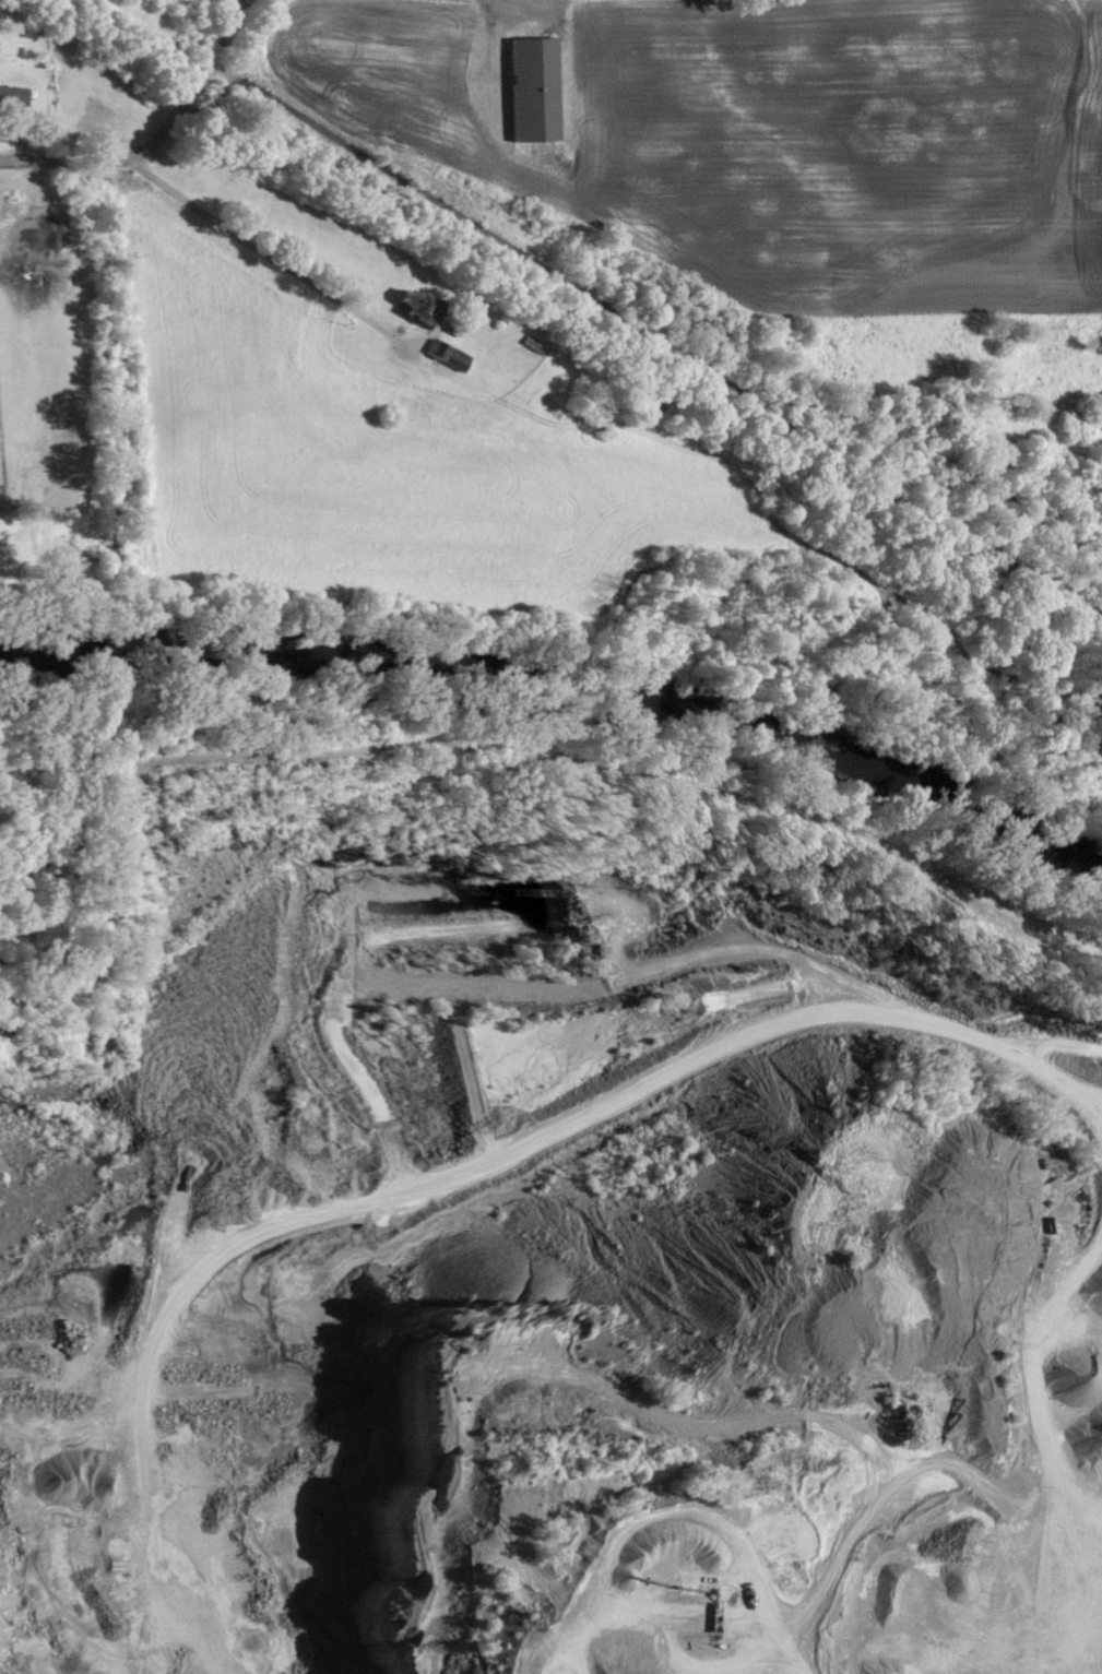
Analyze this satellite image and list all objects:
road: (193, 82)
building: (524, 87)
road: (67, 161)
road: (270, 256)
building: (404, 307)
building: (440, 354)
road: (1029, 1064)

